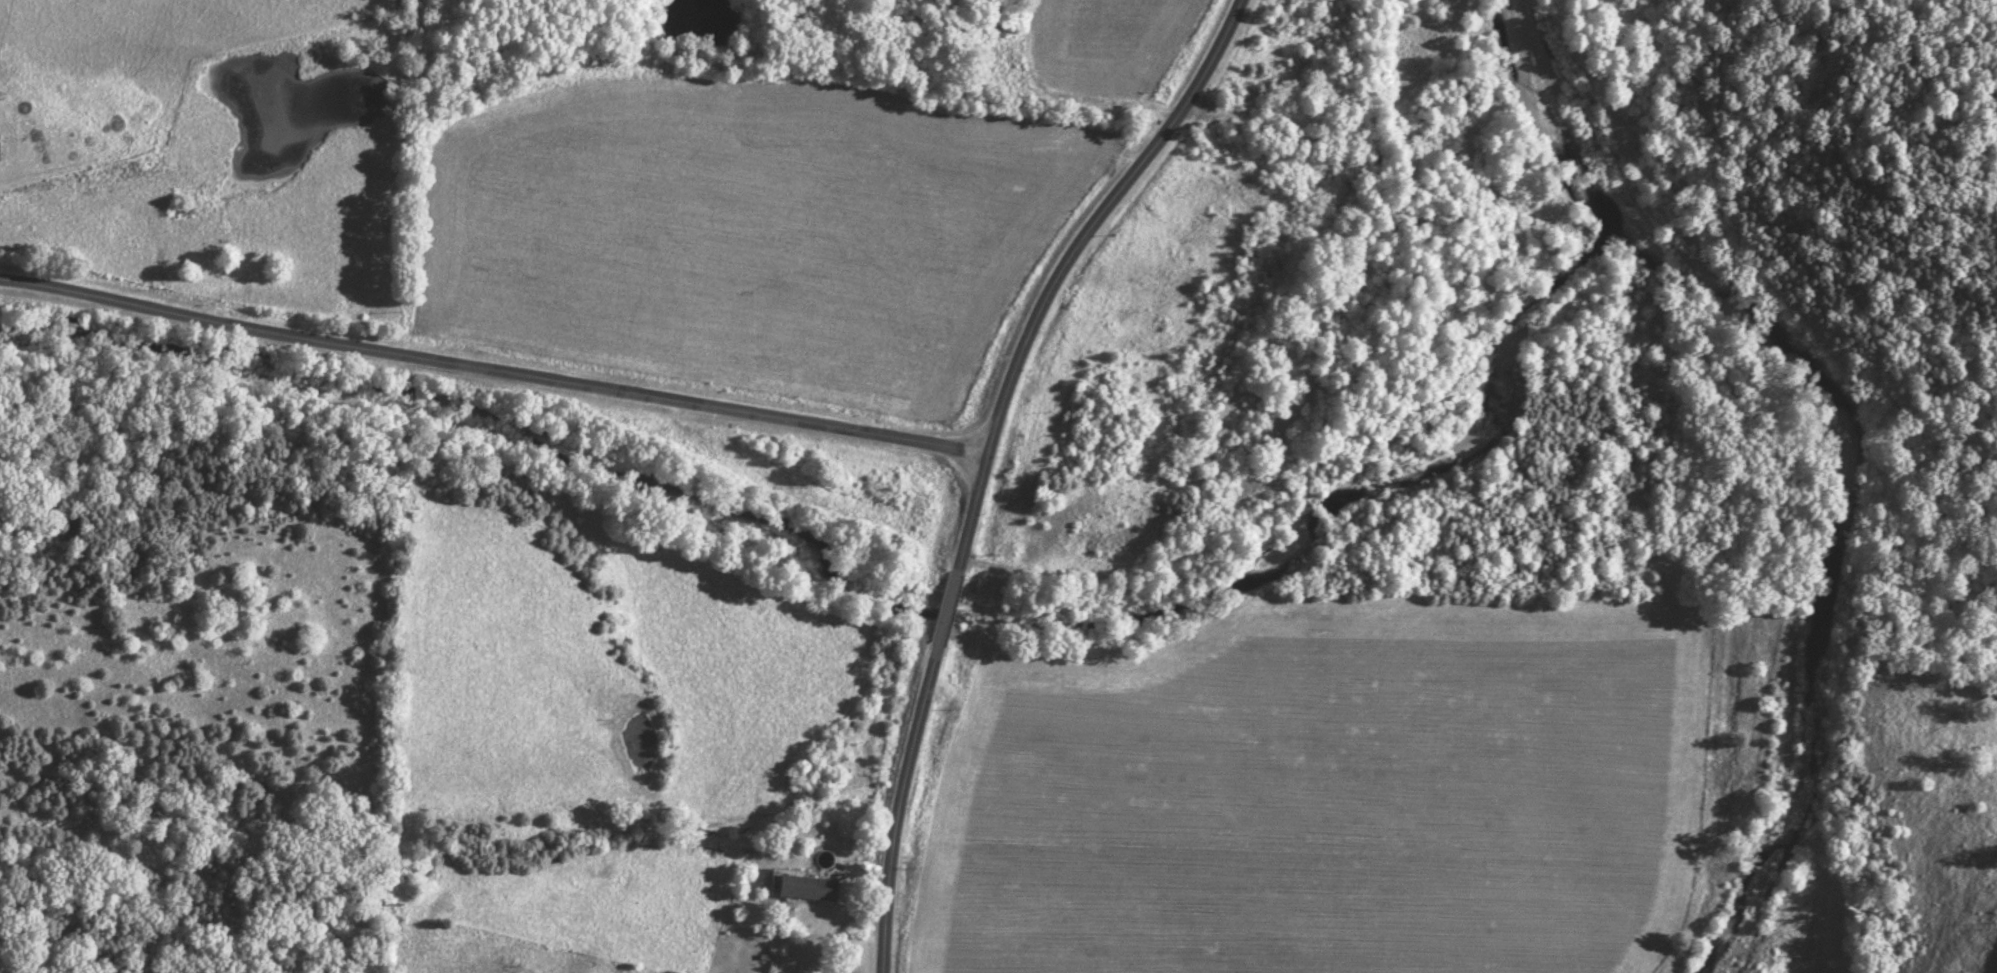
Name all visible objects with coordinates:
building: (992, 31)
road: (490, 369)
road: (982, 454)
building: (803, 888)

